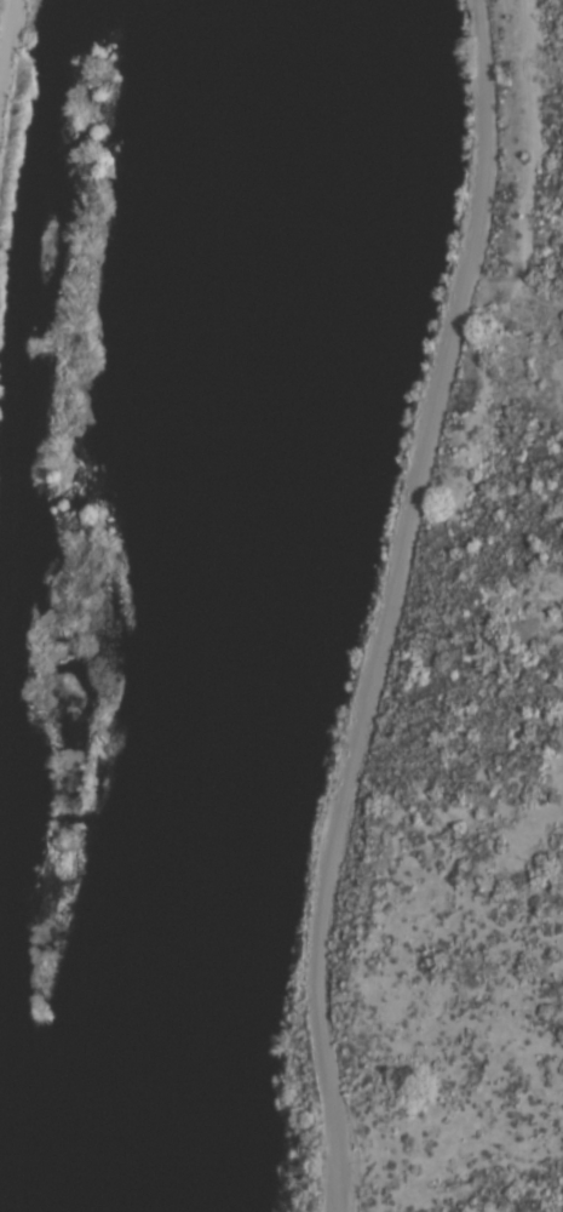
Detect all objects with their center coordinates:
river: (183, 606)

